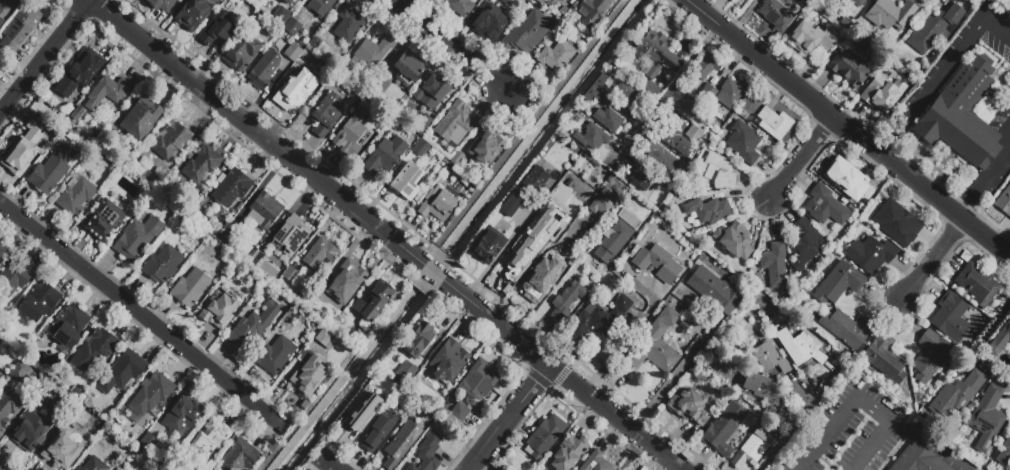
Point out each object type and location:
building: (566, 0)
building: (568, 0)
building: (288, 2)
building: (856, 2)
building: (3, 4)
building: (160, 5)
building: (320, 7)
building: (460, 7)
building: (593, 11)
building: (192, 14)
building: (890, 14)
building: (776, 15)
building: (281, 16)
building: (1, 21)
building: (242, 21)
building: (489, 21)
building: (348, 24)
building: (292, 27)
building: (19, 28)
building: (936, 29)
building: (531, 30)
building: (215, 31)
building: (811, 37)
building: (314, 45)
road: (449, 46)
building: (241, 53)
building: (293, 53)
building: (371, 54)
building: (657, 54)
building: (557, 55)
road: (45, 57)
parking lot: (956, 60)
building: (706, 66)
building: (847, 68)
building: (408, 69)
building: (264, 70)
road: (940, 72)
building: (78, 75)
building: (601, 85)
building: (295, 88)
building: (429, 91)
building: (653, 91)
building: (107, 92)
building: (626, 92)
building: (707, 92)
building: (731, 92)
road: (664, 94)
building: (881, 94)
building: (593, 95)
building: (352, 96)
building: (326, 112)
building: (693, 112)
building: (76, 114)
building: (964, 115)
building: (140, 119)
building: (607, 120)
parking lot: (1003, 122)
building: (454, 123)
building: (771, 123)
building: (422, 124)
road: (1007, 128)
road: (847, 129)
road: (256, 133)
building: (694, 133)
building: (350, 134)
building: (591, 137)
building: (171, 140)
building: (675, 141)
building: (743, 143)
building: (25, 144)
building: (485, 148)
building: (420, 149)
building: (384, 156)
building: (456, 158)
building: (663, 158)
road: (801, 159)
building: (200, 164)
building: (52, 169)
building: (717, 172)
building: (844, 177)
building: (535, 180)
building: (643, 180)
building: (407, 181)
building: (157, 183)
road: (982, 183)
building: (230, 188)
building: (76, 196)
building: (139, 196)
building: (603, 201)
building: (1004, 202)
building: (566, 203)
building: (437, 204)
building: (512, 205)
building: (825, 206)
building: (264, 210)
building: (707, 210)
building: (105, 220)
building: (896, 221)
building: (232, 227)
building: (619, 232)
building: (290, 235)
building: (137, 238)
building: (524, 242)
building: (734, 242)
building: (804, 245)
building: (488, 246)
building: (1, 250)
building: (871, 254)
building: (264, 255)
building: (321, 255)
road: (929, 258)
building: (657, 263)
building: (162, 264)
building: (774, 265)
road: (433, 273)
building: (290, 274)
building: (14, 277)
road: (510, 280)
building: (345, 281)
building: (536, 282)
building: (838, 282)
building: (977, 285)
building: (189, 288)
building: (713, 291)
building: (319, 299)
building: (567, 301)
building: (40, 302)
building: (373, 302)
building: (218, 310)
road: (144, 316)
building: (950, 318)
building: (598, 320)
building: (253, 326)
building: (68, 328)
road: (989, 330)
building: (847, 331)
building: (324, 335)
building: (417, 341)
building: (1001, 343)
building: (655, 344)
building: (800, 347)
building: (96, 348)
building: (276, 355)
building: (930, 356)
building: (769, 358)
building: (885, 359)
building: (448, 361)
building: (19, 371)
building: (123, 371)
building: (405, 372)
building: (1, 374)
building: (308, 374)
road: (563, 375)
building: (478, 381)
road: (663, 388)
building: (51, 389)
building: (766, 391)
building: (152, 394)
building: (956, 395)
building: (8, 405)
building: (690, 405)
road: (874, 413)
building: (359, 414)
building: (458, 414)
road: (509, 417)
building: (987, 418)
building: (182, 419)
building: (724, 426)
road: (794, 429)
building: (1009, 429)
building: (31, 430)
building: (378, 432)
parking lot: (853, 432)
road: (829, 435)
building: (544, 437)
building: (211, 439)
building: (118, 440)
building: (148, 441)
building: (401, 445)
building: (62, 448)
building: (753, 448)
road: (874, 448)
building: (427, 452)
road: (944, 452)
building: (1004, 452)
building: (568, 454)
building: (239, 456)
building: (917, 459)
building: (595, 462)
building: (163, 464)
road: (328, 464)
building: (94, 465)
building: (155, 468)
building: (616, 469)

